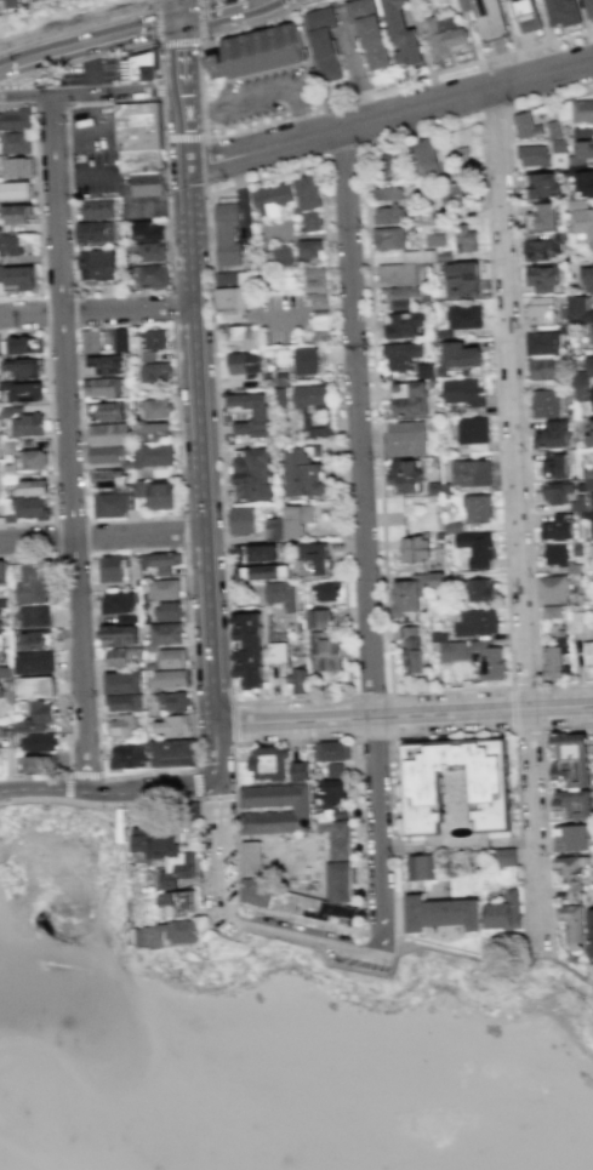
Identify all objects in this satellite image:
road: (155, 1)
building: (10, 2)
building: (462, 5)
road: (92, 8)
road: (179, 8)
road: (215, 8)
building: (587, 8)
road: (124, 11)
building: (560, 12)
building: (525, 15)
traffic signals: (181, 17)
railway: (74, 19)
building: (487, 19)
road: (251, 22)
road: (46, 30)
road: (200, 30)
building: (366, 32)
building: (400, 34)
road: (156, 35)
building: (443, 35)
road: (90, 40)
building: (321, 42)
road: (183, 53)
building: (258, 55)
road: (158, 61)
road: (353, 65)
building: (137, 67)
road: (93, 68)
parking lot: (93, 72)
road: (394, 80)
road: (159, 87)
road: (199, 89)
road: (119, 95)
road: (27, 97)
parking lot: (264, 97)
road: (236, 102)
road: (50, 105)
road: (295, 110)
building: (581, 110)
road: (390, 112)
road: (494, 114)
building: (16, 120)
road: (64, 125)
building: (526, 125)
building: (137, 126)
road: (186, 127)
road: (81, 129)
parking lot: (92, 129)
road: (481, 129)
building: (552, 129)
building: (582, 131)
road: (183, 138)
building: (17, 143)
building: (558, 144)
building: (581, 150)
building: (424, 153)
building: (532, 156)
building: (141, 160)
building: (390, 164)
road: (204, 165)
building: (17, 167)
road: (82, 173)
parking lot: (96, 176)
building: (581, 179)
building: (147, 184)
building: (540, 184)
building: (13, 190)
building: (387, 193)
road: (166, 194)
building: (455, 194)
building: (304, 195)
building: (270, 199)
road: (38, 205)
building: (99, 210)
building: (15, 215)
building: (387, 215)
building: (540, 216)
building: (581, 218)
building: (422, 219)
building: (309, 221)
building: (147, 230)
building: (91, 233)
building: (226, 234)
road: (307, 234)
building: (463, 238)
building: (387, 239)
building: (433, 239)
building: (11, 245)
building: (543, 246)
building: (308, 247)
building: (150, 253)
building: (441, 256)
building: (279, 257)
building: (97, 266)
building: (397, 273)
building: (587, 275)
building: (18, 276)
building: (153, 276)
building: (541, 276)
building: (229, 278)
building: (458, 280)
building: (314, 285)
building: (401, 296)
building: (229, 298)
road: (171, 306)
road: (302, 308)
building: (540, 308)
building: (577, 309)
road: (96, 310)
road: (42, 312)
building: (228, 314)
building: (464, 316)
building: (400, 325)
building: (319, 327)
building: (563, 329)
building: (591, 333)
building: (241, 336)
building: (148, 339)
building: (121, 341)
building: (91, 342)
building: (541, 342)
building: (23, 346)
building: (401, 354)
building: (460, 356)
building: (309, 360)
building: (241, 363)
building: (104, 364)
building: (588, 364)
building: (541, 367)
building: (23, 369)
building: (424, 370)
building: (154, 373)
building: (281, 378)
building: (580, 378)
road: (521, 381)
building: (431, 383)
building: (103, 387)
building: (24, 392)
building: (461, 392)
building: (580, 393)
building: (592, 393)
building: (307, 394)
building: (279, 396)
building: (410, 403)
building: (544, 403)
building: (156, 407)
building: (108, 411)
building: (258, 413)
road: (358, 416)
building: (24, 422)
building: (313, 427)
road: (49, 429)
building: (153, 432)
building: (472, 432)
building: (552, 433)
building: (589, 433)
building: (108, 434)
building: (404, 438)
road: (199, 441)
road: (69, 443)
road: (178, 446)
building: (107, 455)
building: (154, 456)
building: (34, 458)
building: (592, 458)
building: (552, 464)
building: (303, 472)
building: (469, 473)
building: (587, 473)
building: (252, 475)
building: (403, 476)
building: (108, 479)
building: (588, 484)
building: (32, 486)
building: (580, 486)
building: (432, 489)
building: (443, 489)
building: (555, 491)
building: (161, 495)
building: (591, 498)
building: (577, 502)
building: (113, 504)
building: (27, 508)
building: (475, 508)
road: (517, 514)
building: (587, 514)
building: (296, 519)
building: (243, 520)
building: (557, 526)
building: (449, 527)
building: (591, 527)
building: (272, 529)
road: (183, 530)
road: (102, 536)
road: (56, 537)
building: (576, 548)
building: (411, 550)
building: (475, 550)
building: (554, 553)
building: (256, 554)
building: (592, 554)
building: (313, 558)
building: (159, 563)
building: (575, 566)
building: (113, 569)
building: (2, 571)
building: (263, 573)
road: (61, 575)
building: (433, 582)
building: (35, 586)
building: (551, 587)
building: (165, 589)
building: (477, 590)
building: (326, 592)
building: (280, 594)
building: (403, 600)
building: (119, 603)
building: (169, 611)
building: (551, 611)
building: (34, 617)
building: (318, 617)
building: (575, 618)
building: (0, 620)
building: (474, 623)
building: (246, 630)
building: (166, 633)
building: (119, 637)
building: (437, 638)
building: (36, 641)
building: (1, 647)
building: (409, 650)
building: (326, 651)
building: (451, 651)
building: (278, 654)
building: (588, 654)
building: (122, 657)
building: (172, 657)
building: (484, 661)
building: (35, 662)
building: (552, 662)
building: (246, 668)
building: (6, 672)
building: (170, 679)
road: (348, 679)
building: (300, 680)
building: (122, 683)
building: (38, 687)
building: (1, 690)
road: (538, 691)
road: (389, 696)
building: (173, 701)
building: (124, 702)
road: (192, 703)
road: (403, 708)
road: (511, 708)
road: (350, 717)
building: (36, 718)
road: (232, 723)
building: (122, 726)
building: (172, 726)
road: (72, 727)
road: (526, 730)
building: (1, 731)
road: (461, 734)
road: (372, 737)
building: (38, 743)
road: (249, 743)
building: (569, 747)
road: (216, 750)
building: (332, 750)
building: (172, 753)
building: (131, 755)
building: (269, 761)
building: (39, 764)
building: (336, 771)
road: (69, 772)
building: (300, 772)
building: (571, 775)
road: (196, 783)
road: (109, 791)
building: (331, 794)
building: (423, 795)
road: (216, 798)
road: (58, 801)
road: (158, 804)
building: (572, 805)
building: (302, 810)
building: (190, 811)
road: (544, 816)
road: (381, 832)
road: (114, 837)
building: (570, 838)
building: (155, 843)
road: (221, 846)
building: (507, 857)
road: (203, 863)
building: (424, 867)
building: (574, 869)
building: (179, 871)
building: (341, 873)
building: (181, 904)
road: (98, 908)
building: (503, 911)
building: (441, 913)
parking lot: (228, 925)
building: (572, 925)
road: (8, 931)
building: (591, 931)
road: (381, 932)
building: (171, 934)
road: (307, 934)
road: (319, 947)
road: (361, 951)
road: (494, 959)
parking lot: (365, 961)
park: (424, 970)
road: (420, 978)

